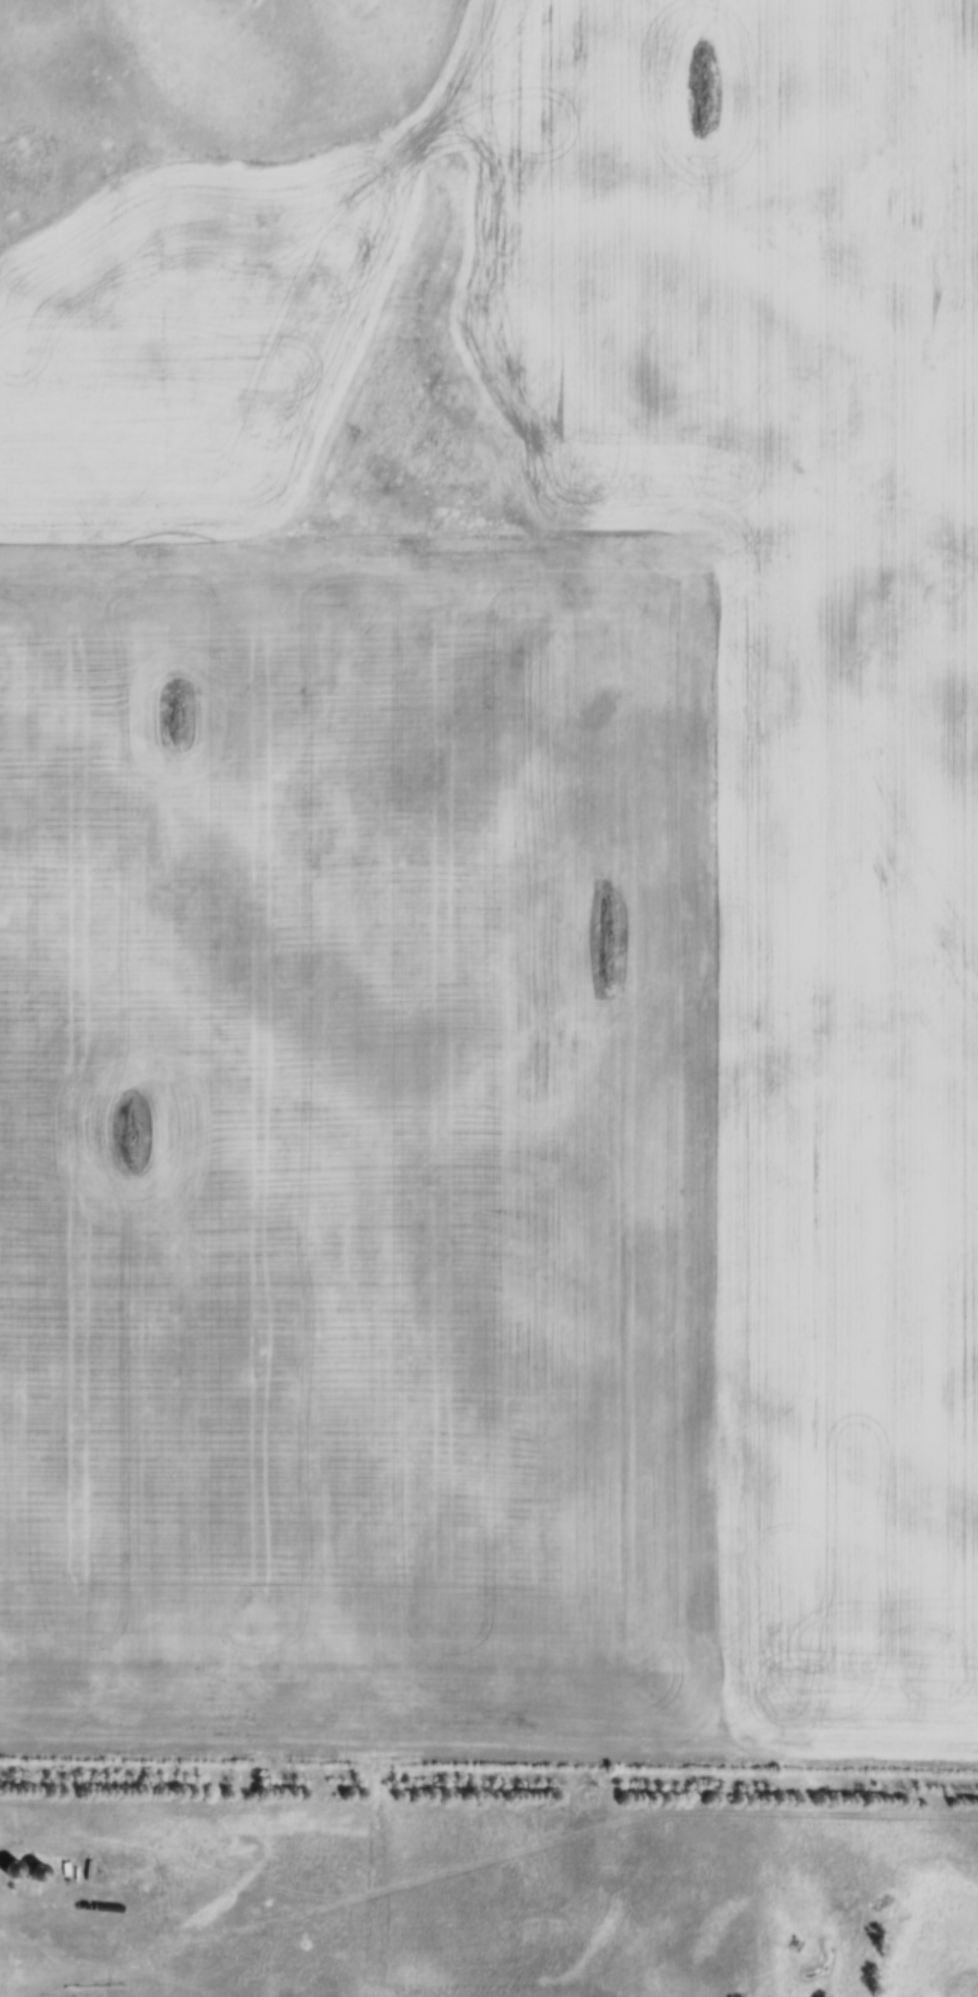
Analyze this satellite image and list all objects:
building: (10, 1869)
building: (36, 1873)

